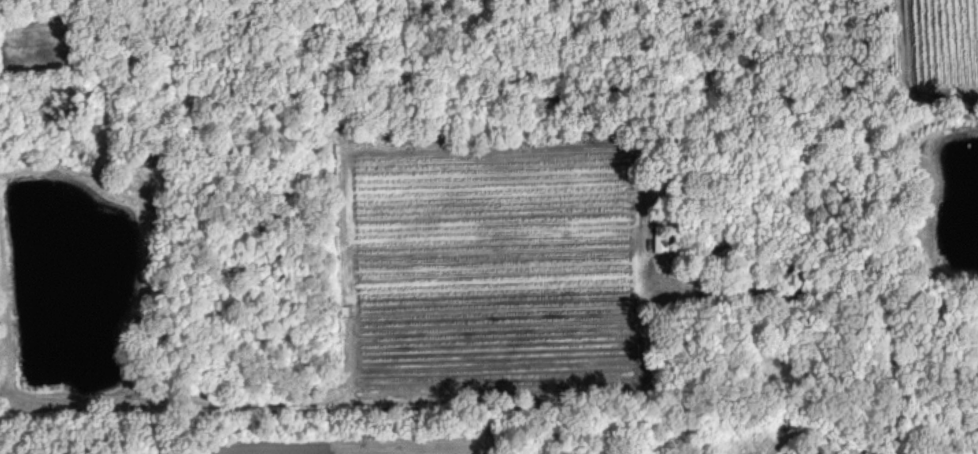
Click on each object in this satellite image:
building: (659, 238)

